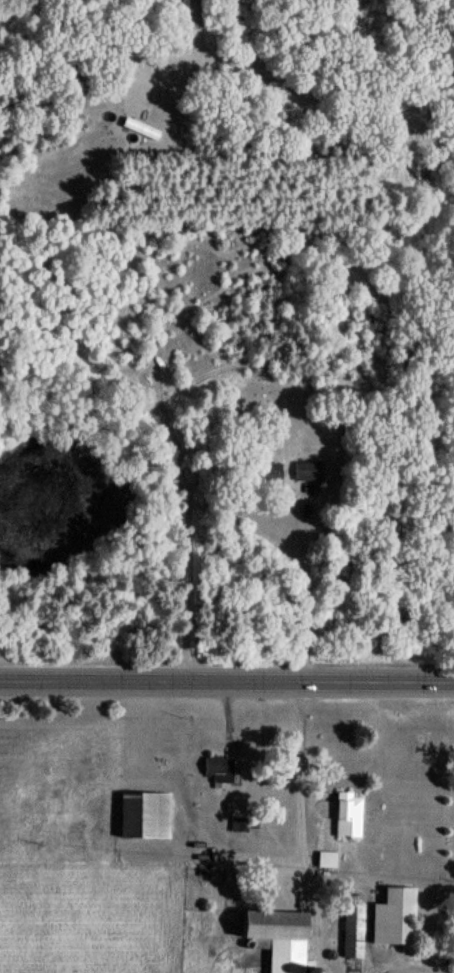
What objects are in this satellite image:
building: (309, 472)
building: (268, 475)
road: (305, 588)
road: (226, 685)
building: (221, 771)
building: (351, 815)
building: (147, 816)
road: (301, 831)
road: (244, 854)
building: (329, 860)
building: (397, 918)
building: (356, 932)
building: (280, 939)
road: (393, 967)

